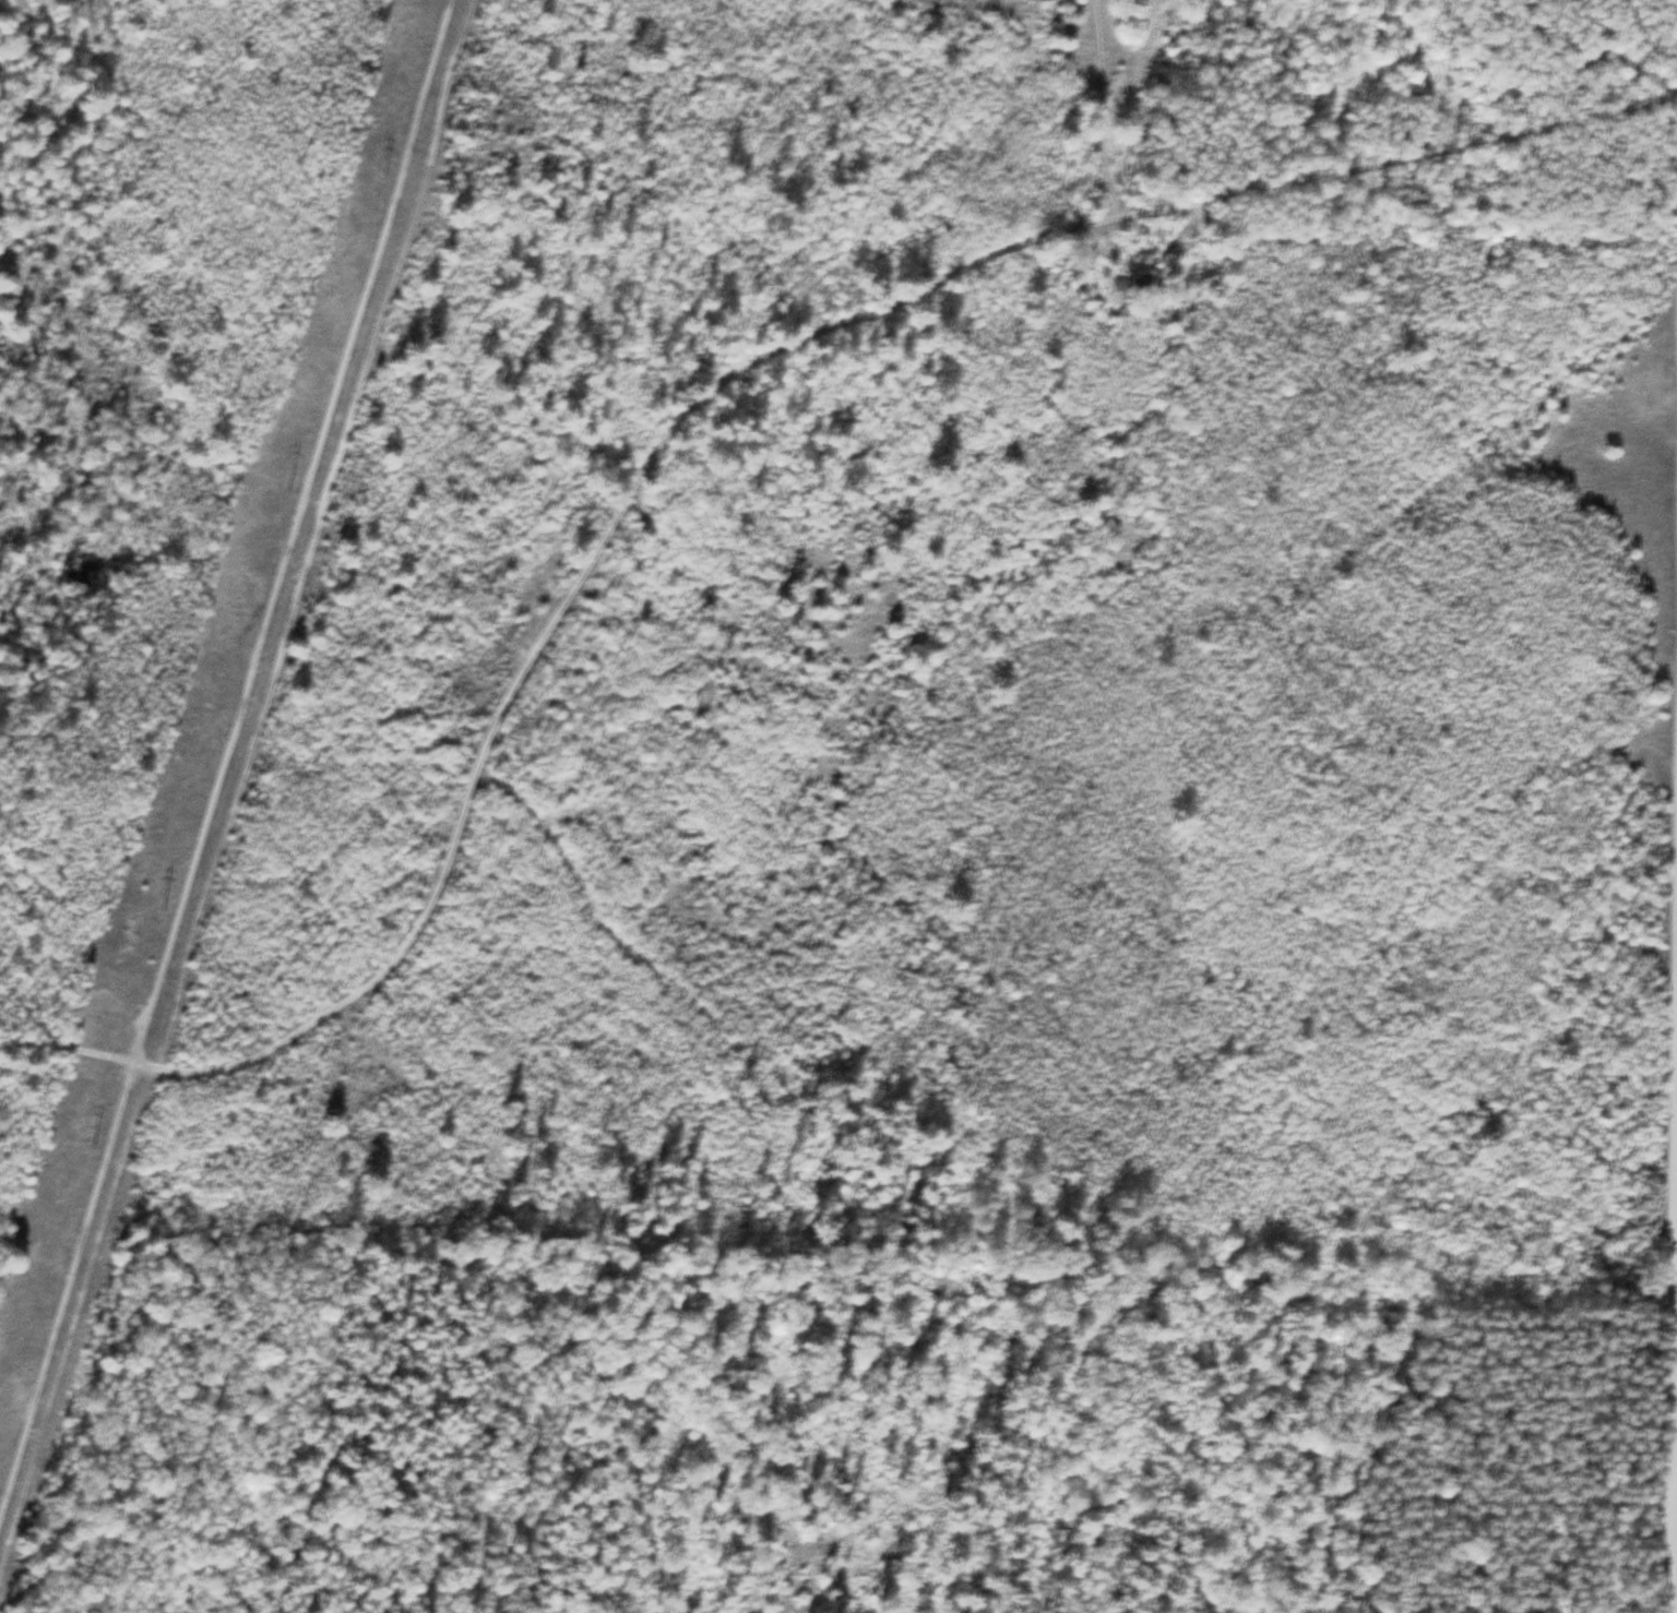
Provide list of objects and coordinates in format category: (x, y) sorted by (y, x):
road: (686, 414)
road: (224, 752)
road: (1670, 1322)

